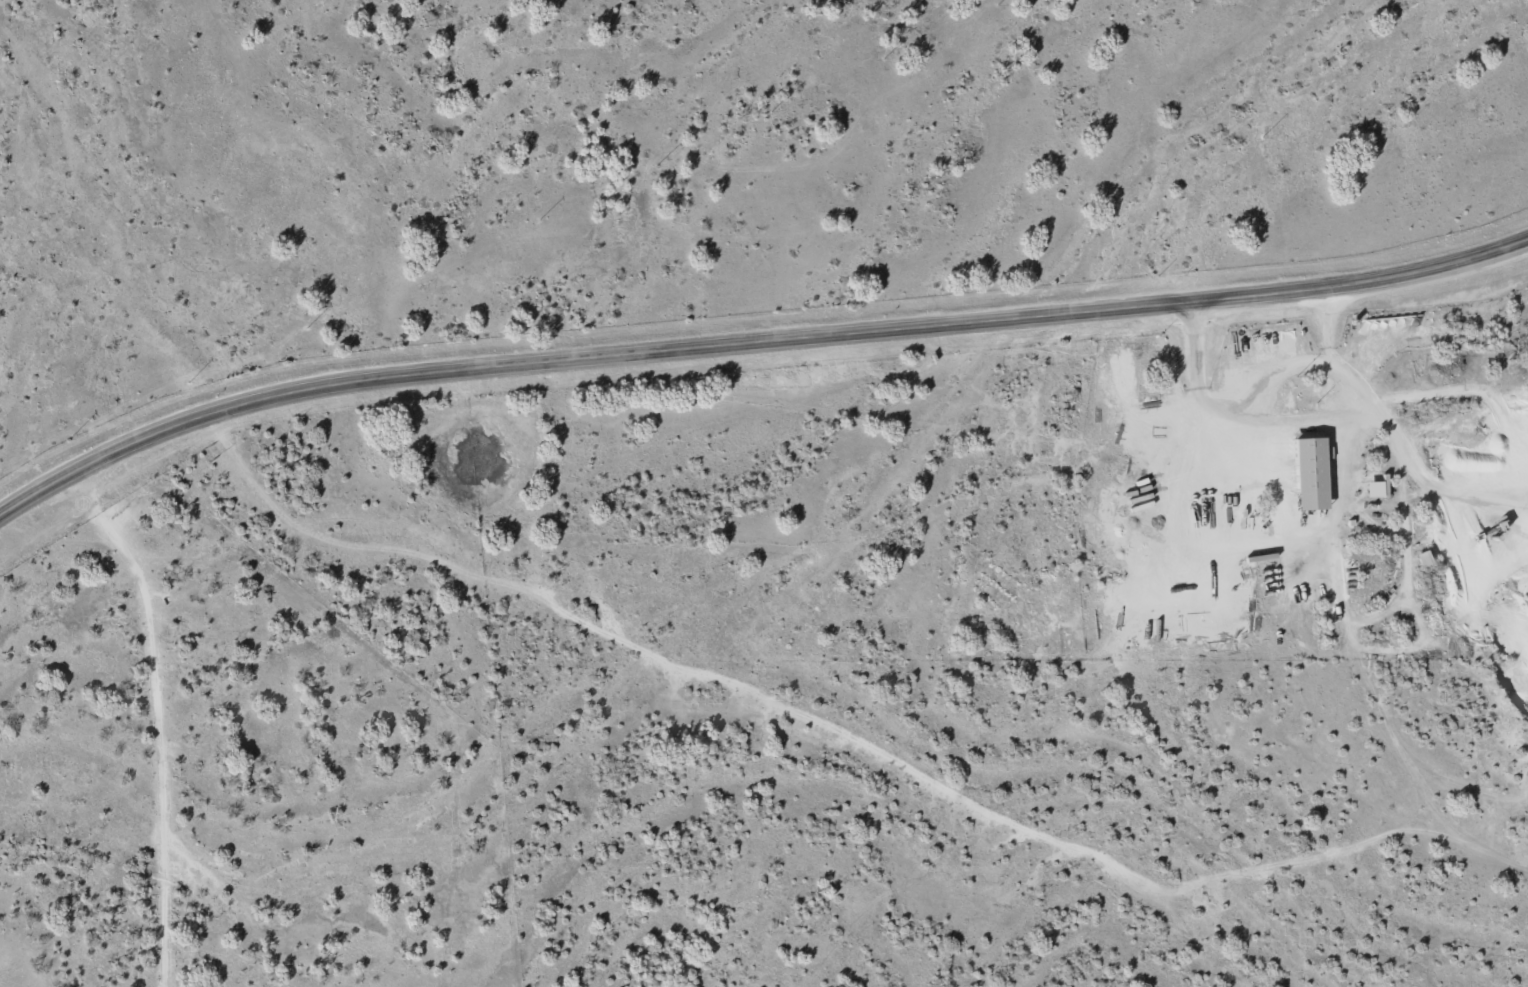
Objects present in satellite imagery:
road: (752, 342)
road: (1281, 383)
road: (154, 719)

